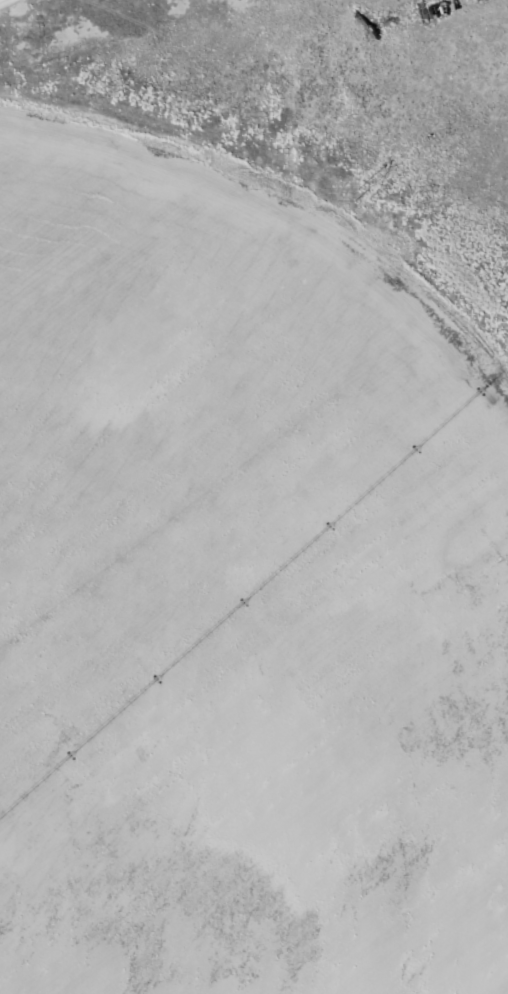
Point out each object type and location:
road: (0, 0)
power tower: (358, 194)

